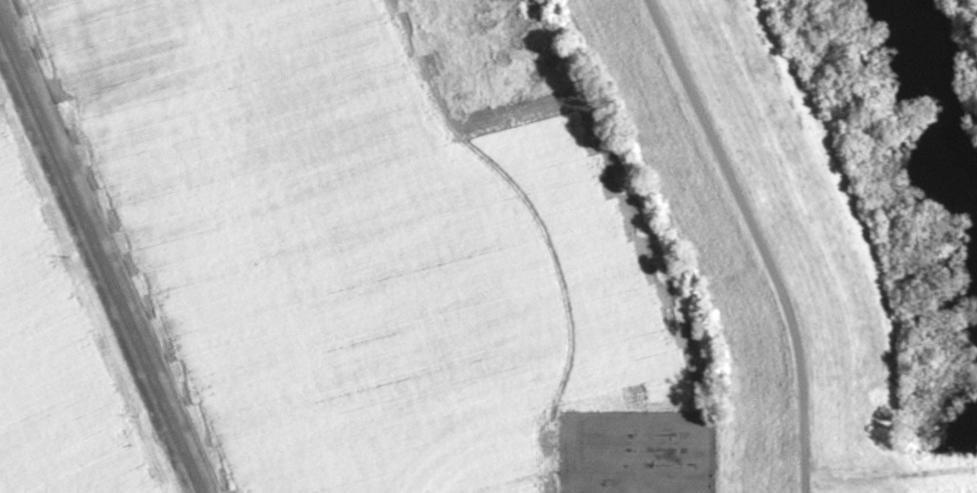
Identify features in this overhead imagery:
road: (756, 237)
road: (99, 261)
road: (889, 475)

